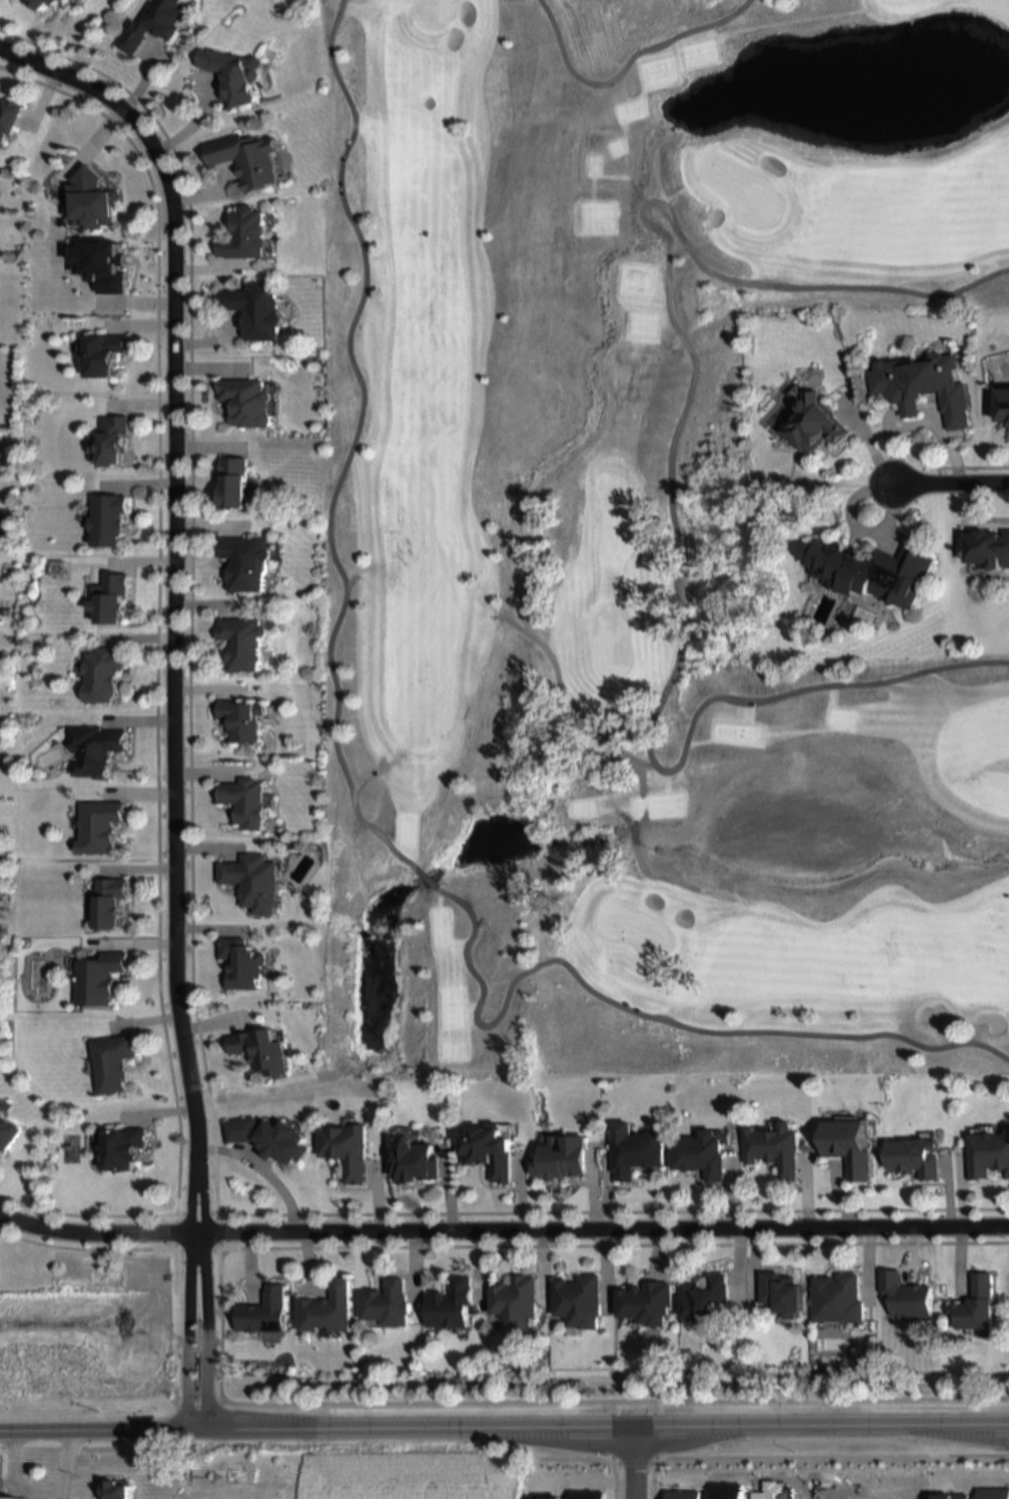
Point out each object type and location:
building: (52, 1)
building: (38, 3)
park: (429, 12)
building: (154, 22)
road: (621, 68)
building: (233, 74)
building: (8, 114)
building: (244, 157)
park: (741, 191)
building: (92, 197)
building: (243, 231)
building: (254, 306)
building: (101, 352)
building: (922, 383)
building: (245, 400)
building: (1004, 401)
building: (815, 422)
building: (111, 439)
road: (668, 477)
building: (231, 481)
road: (949, 481)
building: (107, 518)
park: (634, 544)
building: (990, 548)
road: (173, 559)
building: (244, 560)
building: (868, 568)
building: (112, 597)
building: (242, 640)
park: (609, 641)
building: (103, 673)
building: (244, 718)
building: (96, 748)
building: (249, 800)
road: (359, 821)
building: (100, 826)
building: (255, 881)
building: (111, 901)
park: (631, 928)
building: (243, 963)
building: (101, 978)
building: (262, 1050)
building: (117, 1062)
building: (8, 1131)
building: (268, 1138)
building: (852, 1147)
building: (128, 1148)
building: (777, 1148)
building: (345, 1149)
building: (635, 1151)
building: (487, 1152)
building: (989, 1154)
building: (702, 1155)
building: (916, 1157)
building: (560, 1158)
building: (411, 1161)
road: (503, 1230)
road: (203, 1293)
road: (185, 1294)
building: (784, 1294)
building: (906, 1296)
building: (709, 1299)
building: (838, 1299)
building: (515, 1300)
building: (579, 1300)
building: (648, 1303)
building: (387, 1304)
building: (451, 1304)
building: (976, 1306)
building: (328, 1309)
building: (265, 1312)
road: (644, 1426)
road: (139, 1431)
road: (630, 1462)
crop: (411, 1468)
building: (115, 1490)
road: (38, 1491)
building: (9, 1495)
road: (52, 1496)

